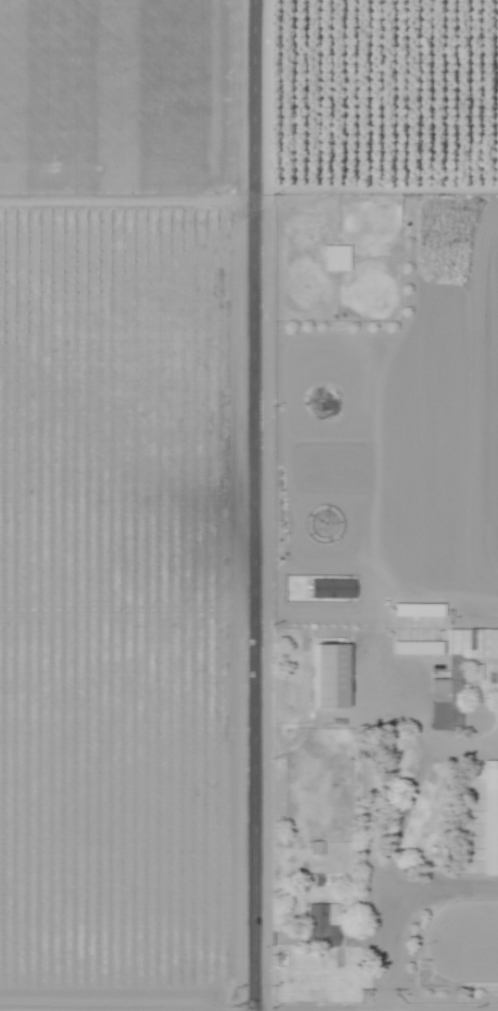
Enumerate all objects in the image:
road: (376, 188)
building: (335, 258)
crop: (118, 502)
crop: (386, 504)
road: (255, 505)
building: (330, 588)
building: (416, 610)
building: (415, 648)
road: (376, 664)
building: (331, 670)
building: (460, 678)
building: (491, 832)
building: (316, 847)
road: (399, 912)
building: (323, 921)

